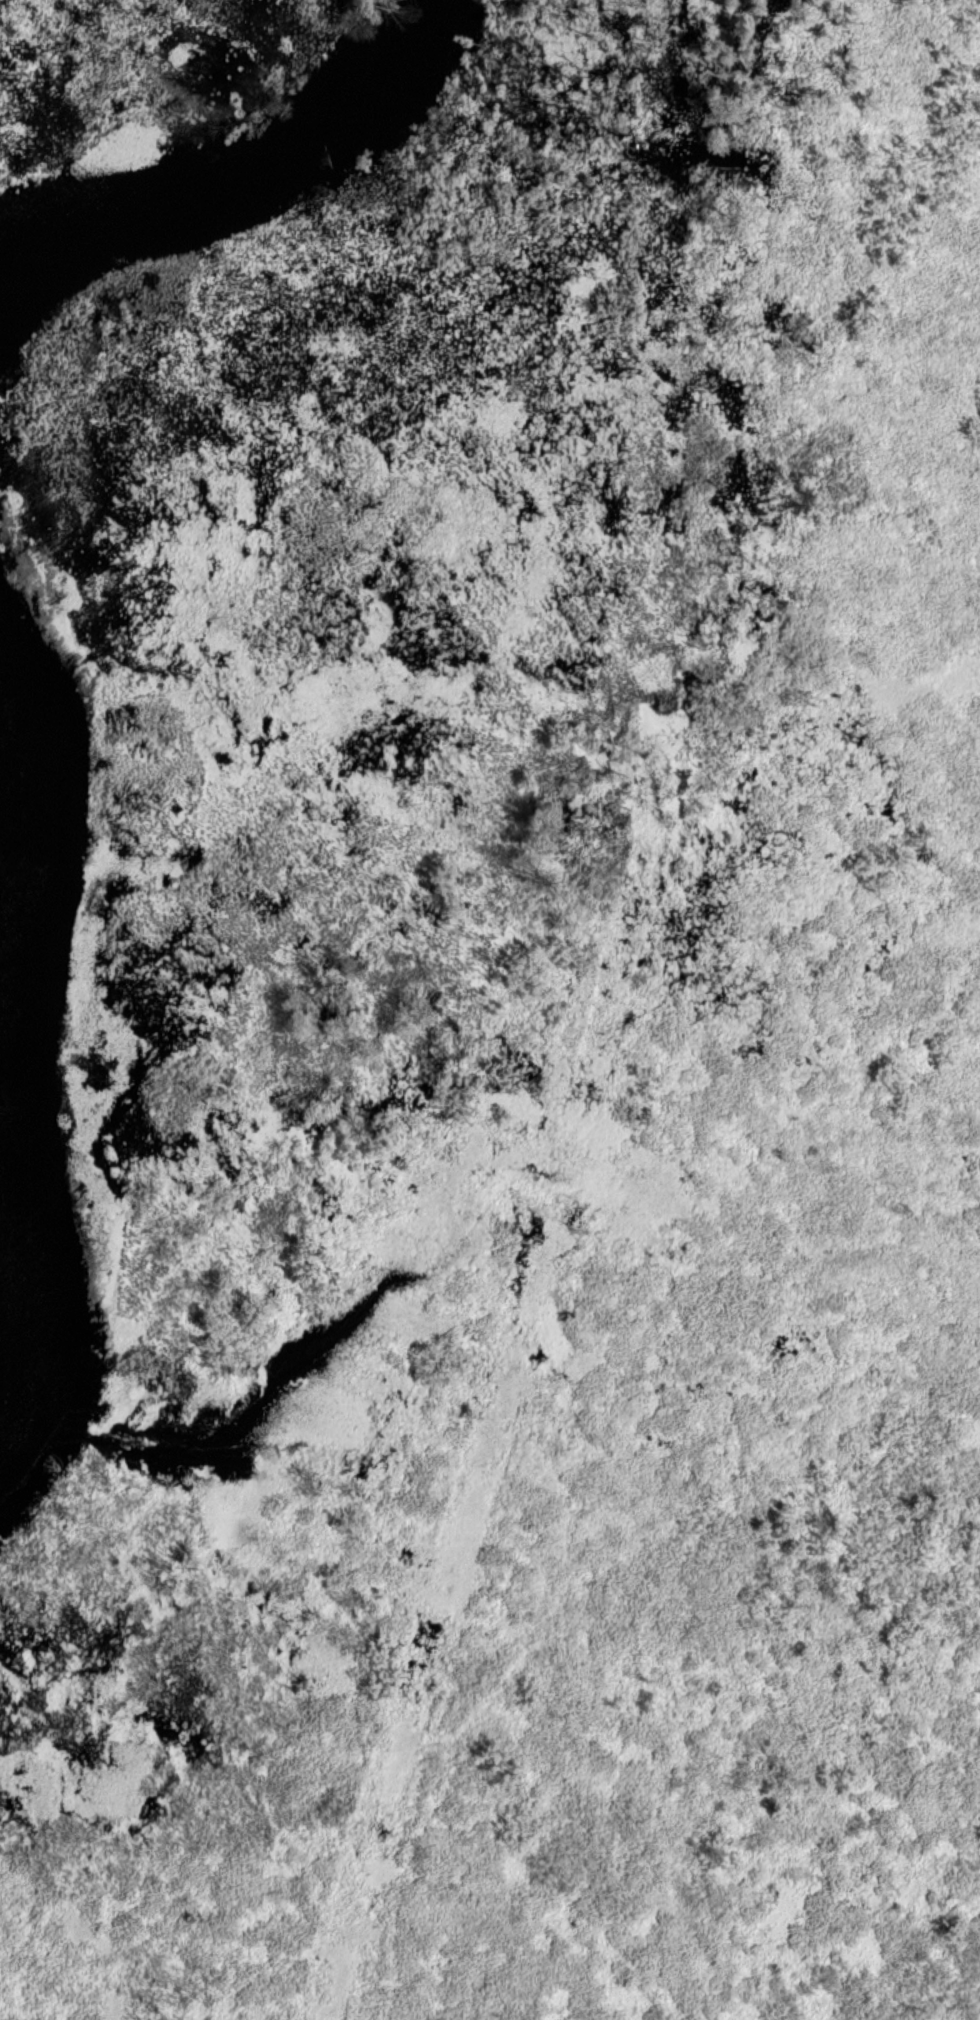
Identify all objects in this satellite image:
river: (56, 944)

